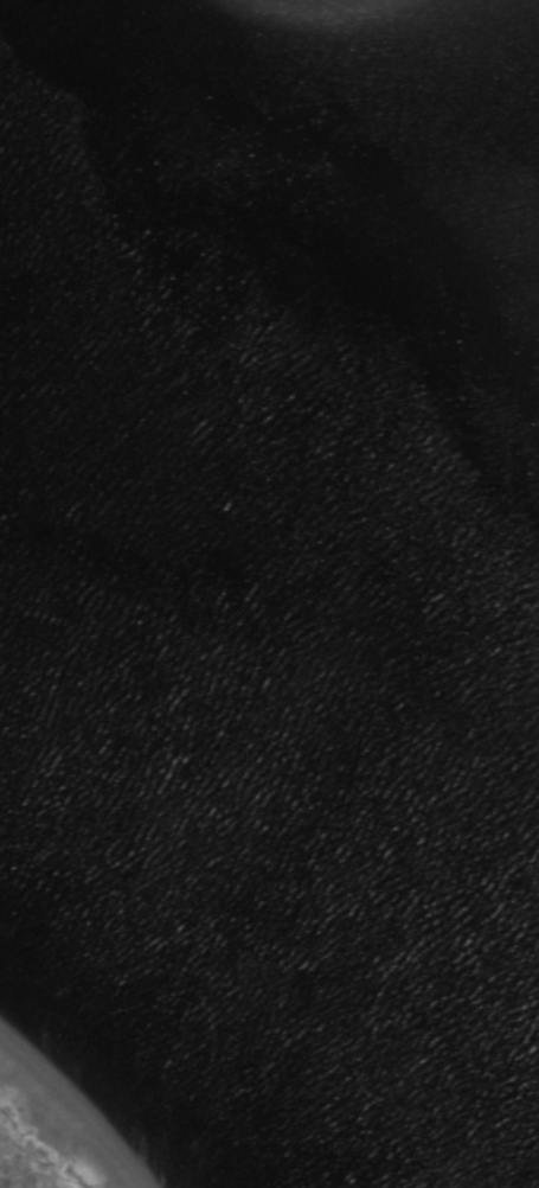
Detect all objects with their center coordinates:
river: (269, 796)

